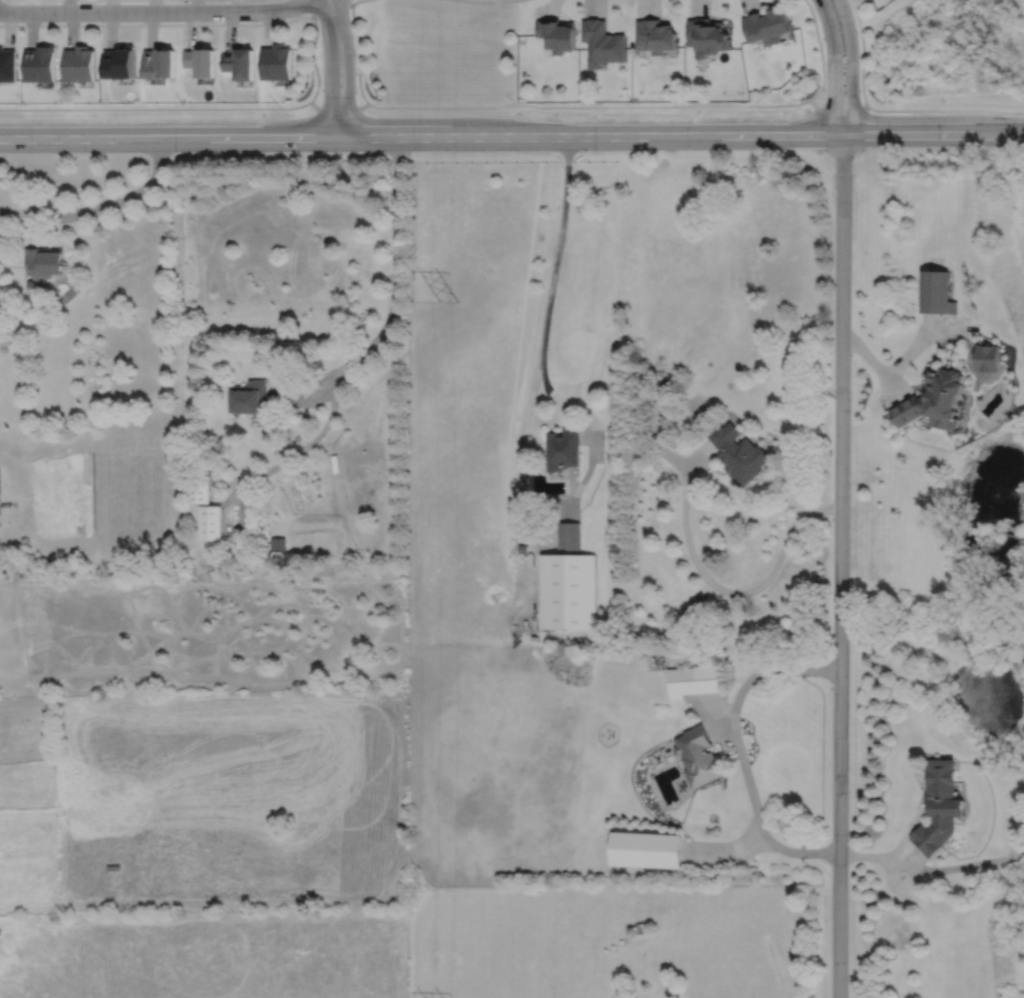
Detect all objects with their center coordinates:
road: (487, 1)
road: (354, 2)
road: (331, 8)
road: (312, 9)
road: (157, 11)
road: (200, 23)
building: (768, 24)
building: (559, 33)
building: (655, 34)
building: (707, 35)
building: (603, 42)
road: (820, 50)
road: (363, 51)
road: (863, 52)
park: (434, 57)
building: (201, 60)
building: (122, 61)
building: (277, 61)
building: (42, 62)
building: (160, 62)
building: (240, 62)
building: (81, 63)
building: (8, 64)
road: (347, 66)
road: (834, 66)
road: (852, 67)
road: (330, 68)
road: (511, 104)
road: (511, 135)
road: (118, 201)
road: (31, 215)
road: (557, 250)
building: (46, 261)
road: (396, 269)
building: (937, 292)
power tower: (448, 301)
road: (925, 335)
building: (987, 357)
road: (875, 363)
road: (305, 386)
building: (248, 397)
building: (936, 401)
road: (656, 419)
building: (563, 449)
building: (738, 454)
road: (285, 457)
road: (697, 457)
building: (199, 488)
building: (1, 489)
road: (553, 519)
building: (209, 521)
building: (568, 536)
building: (277, 543)
road: (840, 565)
building: (568, 589)
road: (735, 593)
building: (696, 601)
road: (767, 671)
building: (694, 679)
road: (712, 722)
building: (698, 751)
road: (748, 779)
crop: (223, 797)
building: (940, 805)
building: (646, 849)
road: (728, 851)
road: (797, 851)
road: (864, 855)
road: (956, 865)
building: (113, 867)
road: (898, 883)
building: (1, 931)

